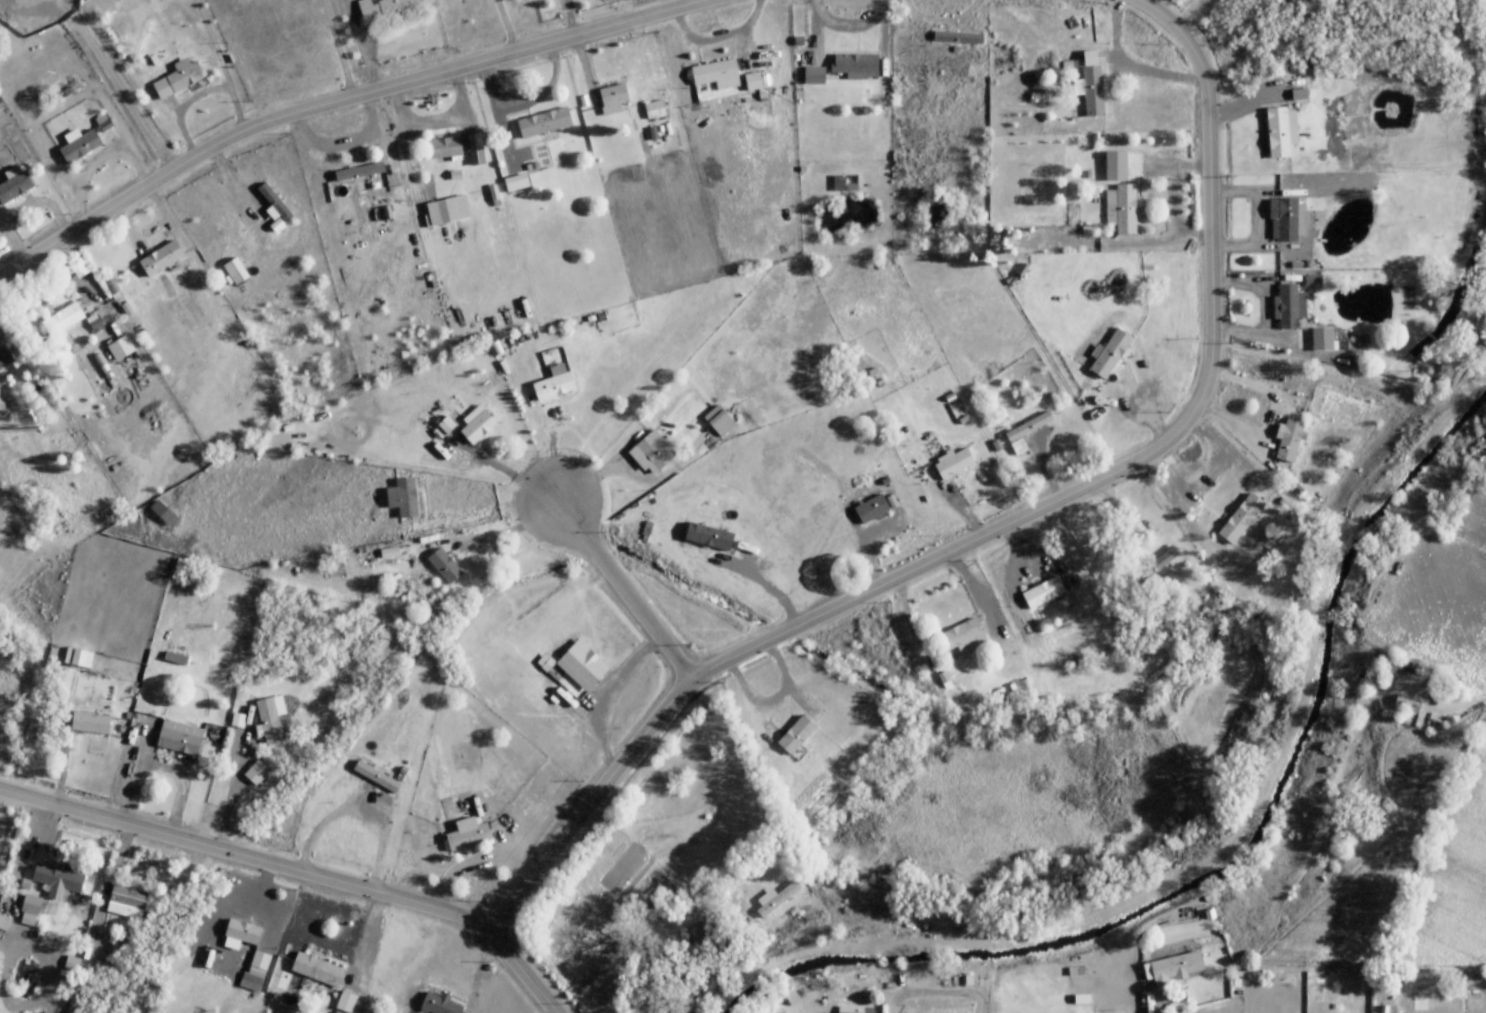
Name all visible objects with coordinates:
building: (389, 9)
building: (958, 38)
building: (853, 66)
building: (716, 75)
building: (813, 77)
building: (177, 81)
building: (753, 83)
building: (1090, 85)
building: (612, 99)
road: (336, 100)
building: (655, 109)
building: (544, 123)
building: (1278, 133)
building: (79, 145)
building: (445, 148)
building: (475, 150)
building: (359, 172)
building: (516, 183)
building: (843, 186)
building: (14, 188)
building: (1120, 195)
building: (274, 203)
building: (452, 210)
building: (1283, 221)
building: (161, 259)
building: (235, 273)
building: (1288, 306)
building: (62, 319)
building: (1323, 339)
building: (120, 348)
building: (1110, 354)
building: (5, 357)
building: (553, 386)
building: (719, 421)
building: (447, 425)
building: (478, 425)
building: (1026, 432)
building: (1289, 440)
building: (651, 454)
building: (954, 464)
building: (404, 498)
building: (872, 510)
building: (162, 514)
building: (1241, 519)
road: (1000, 527)
building: (709, 537)
building: (444, 565)
building: (1156, 565)
road: (622, 590)
building: (1043, 593)
building: (960, 639)
building: (175, 658)
building: (102, 665)
building: (582, 665)
building: (1389, 677)
building: (1407, 704)
building: (270, 718)
building: (90, 724)
building: (796, 735)
building: (179, 739)
building: (256, 773)
building: (376, 777)
building: (468, 837)
road: (243, 857)
building: (57, 883)
building: (126, 902)
building: (29, 913)
building: (2, 928)
building: (241, 935)
building: (1174, 968)
building: (317, 970)
building: (255, 971)
road: (520, 971)
building: (702, 985)
building: (1421, 990)
building: (346, 1002)
building: (438, 1005)
building: (764, 1006)
building: (854, 1011)

